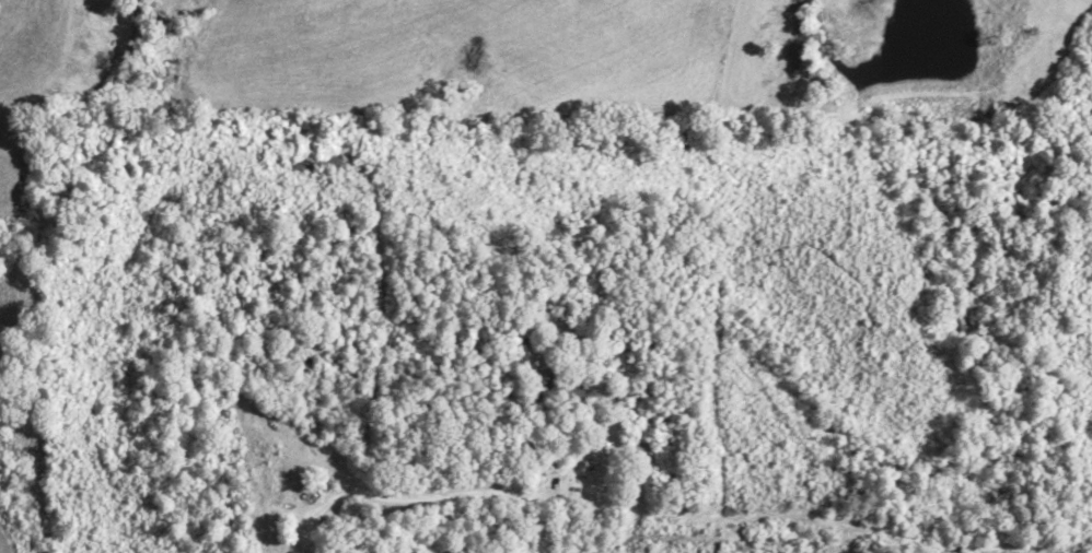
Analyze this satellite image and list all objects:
road: (387, 492)

